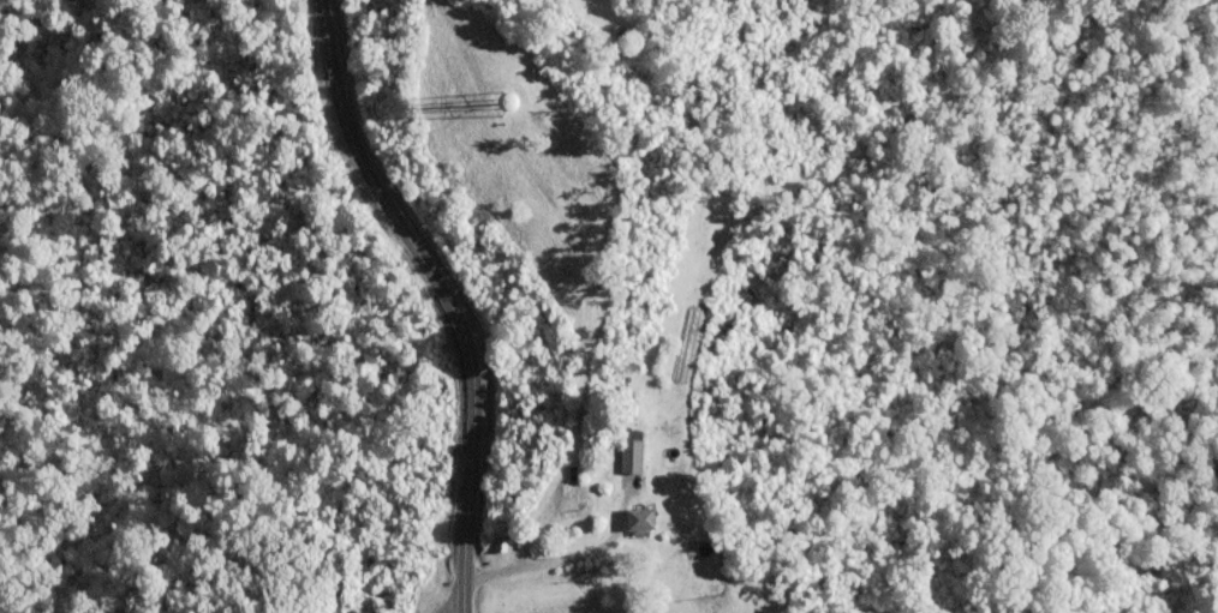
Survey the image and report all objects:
road: (333, 100)
water tower: (488, 101)
road: (470, 390)
road: (271, 445)
building: (628, 456)
building: (639, 519)
road: (561, 559)

